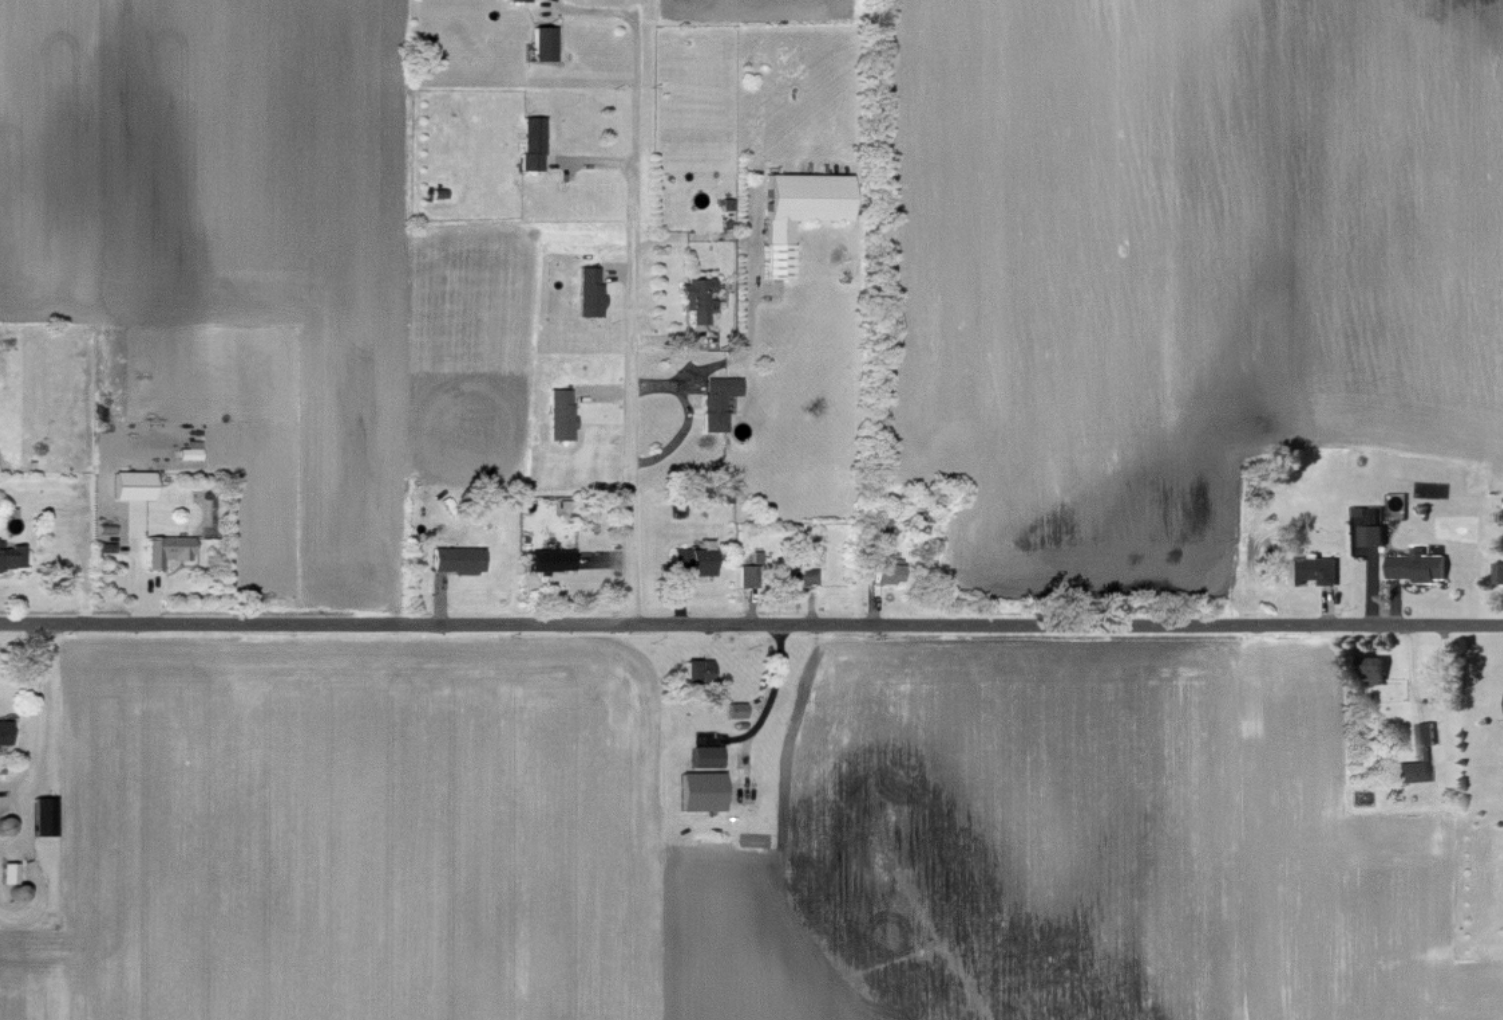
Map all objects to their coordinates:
building: (543, 43)
building: (531, 143)
building: (799, 211)
building: (590, 292)
building: (697, 299)
road: (637, 322)
road: (754, 334)
building: (717, 400)
building: (561, 414)
road: (687, 434)
building: (190, 453)
building: (133, 485)
building: (880, 528)
building: (1372, 529)
building: (166, 550)
building: (11, 556)
building: (458, 560)
building: (550, 560)
building: (693, 560)
building: (1418, 565)
building: (887, 569)
building: (1313, 570)
building: (1499, 572)
building: (746, 575)
building: (793, 576)
road: (751, 625)
building: (696, 669)
building: (1374, 670)
building: (736, 710)
road: (43, 721)
building: (4, 732)
building: (1424, 753)
building: (707, 756)
building: (701, 791)
building: (44, 815)
building: (8, 872)

